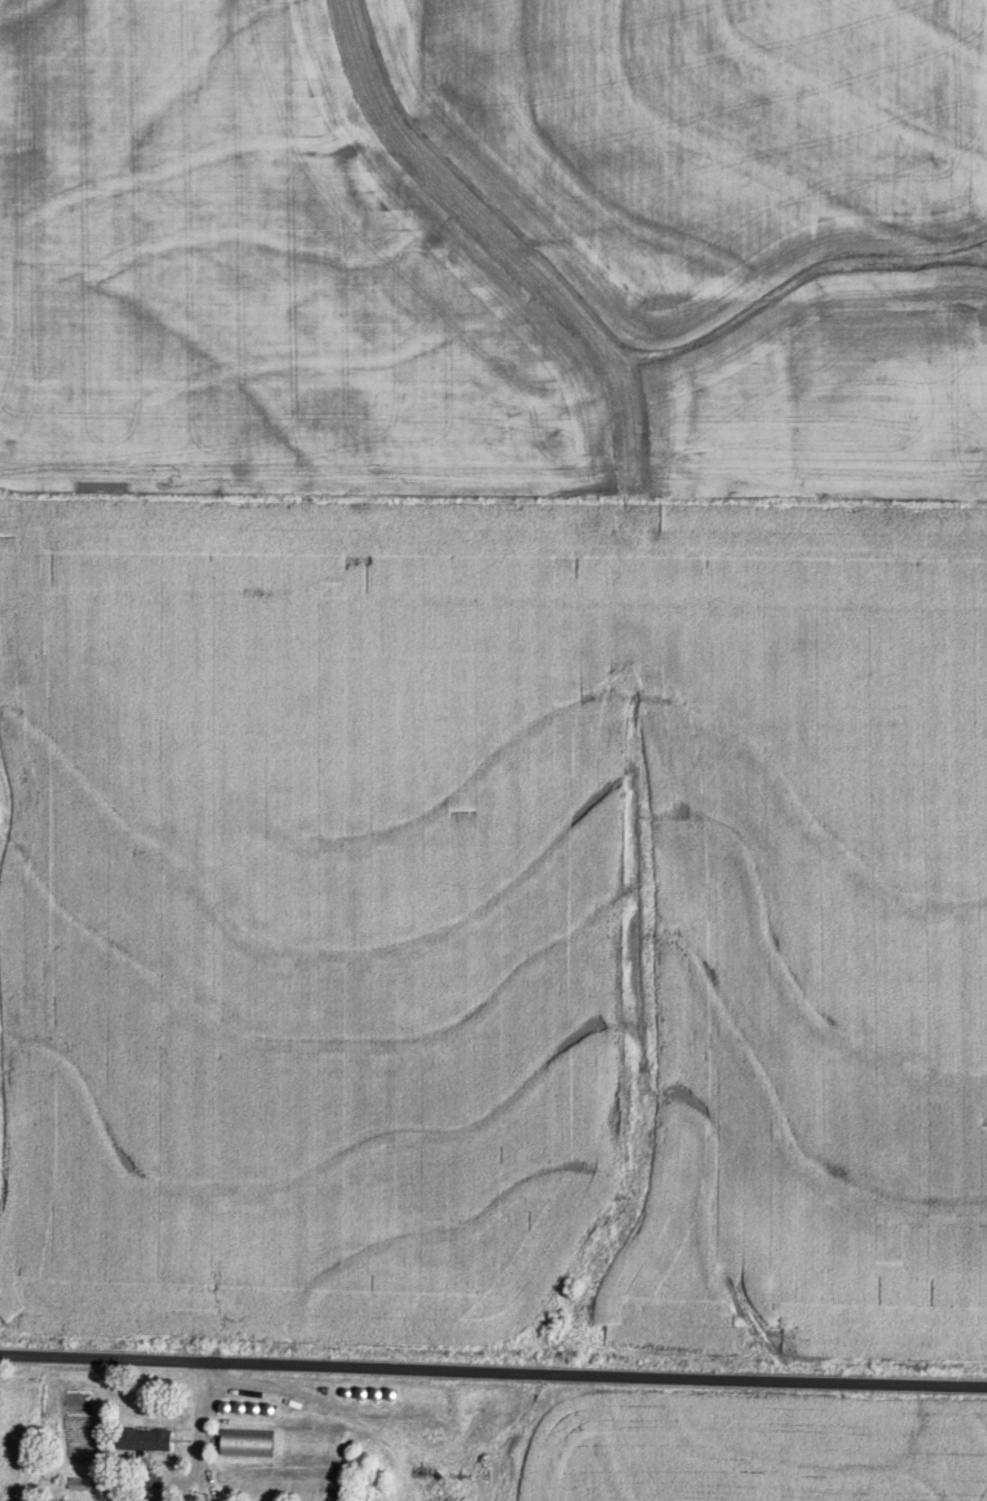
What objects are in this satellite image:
road: (493, 1371)
building: (144, 1438)
road: (202, 1442)
building: (247, 1442)
building: (79, 1483)

